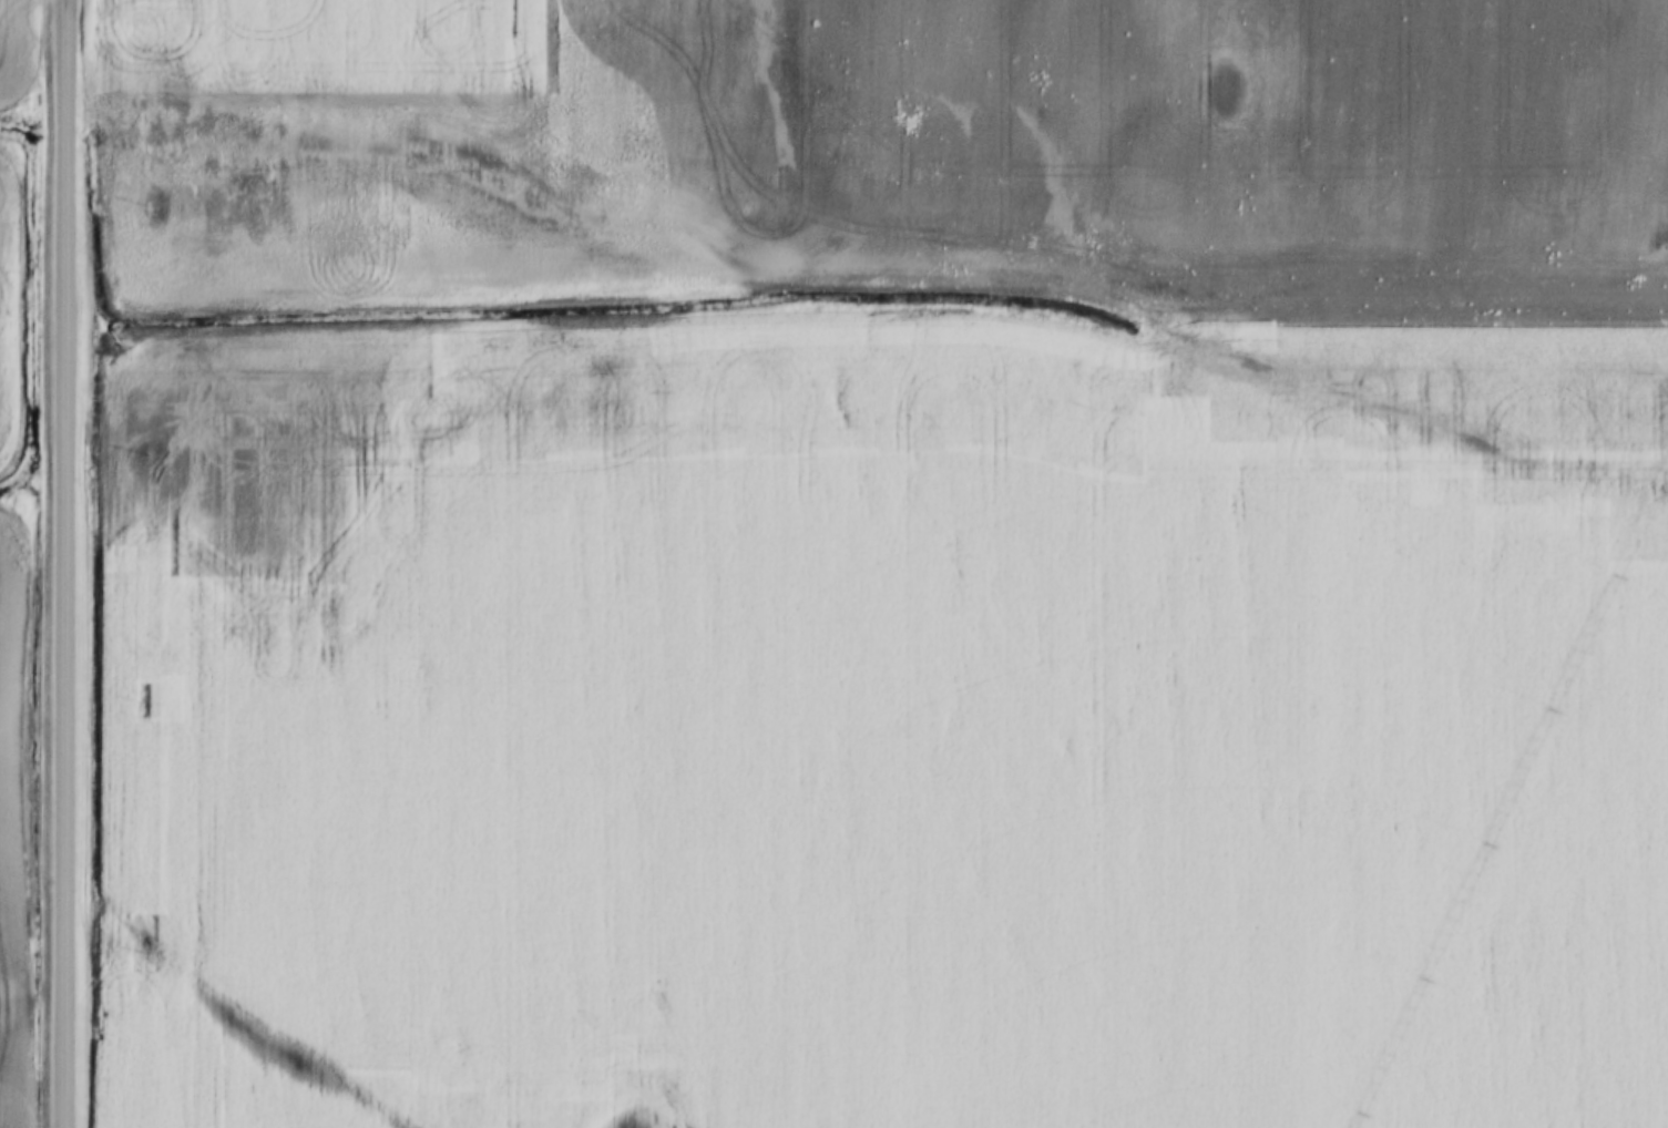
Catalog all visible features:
river: (14, 161)
river: (845, 245)
road: (63, 564)

